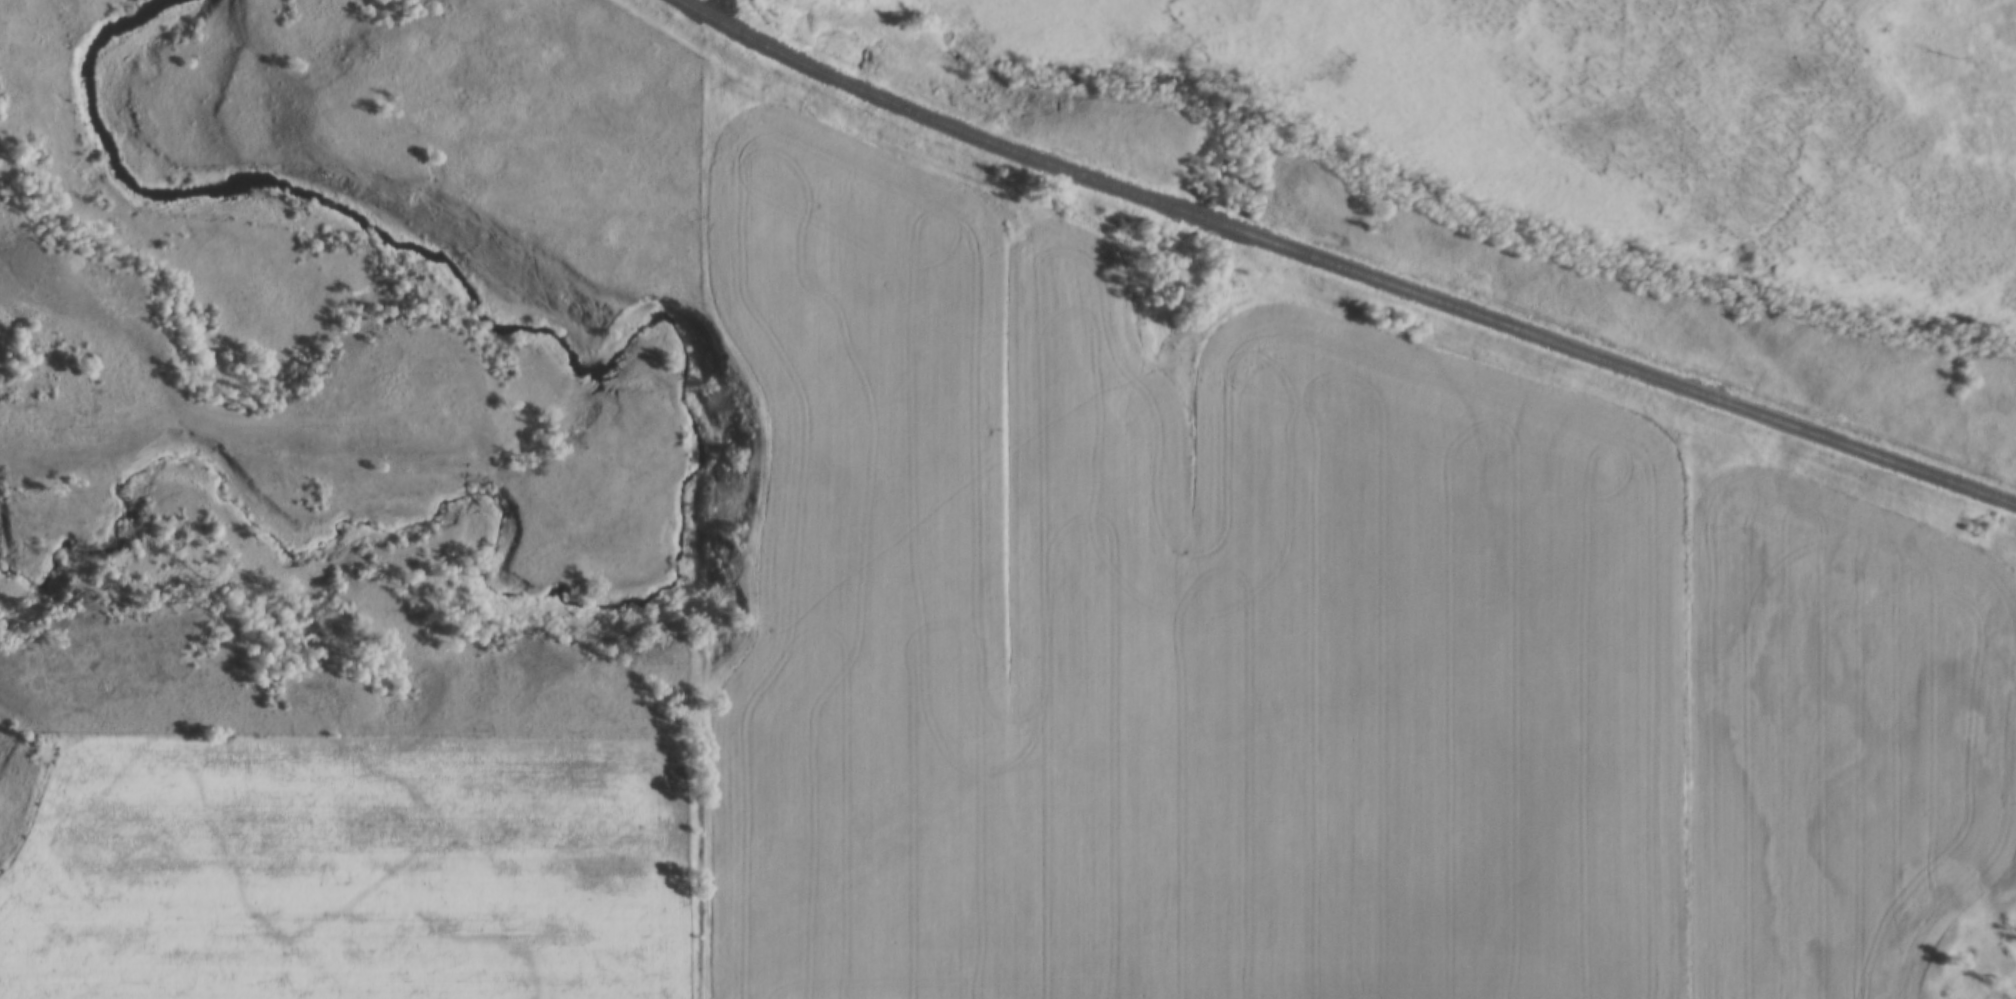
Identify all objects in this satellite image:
railway: (1342, 265)
road: (54, 691)

